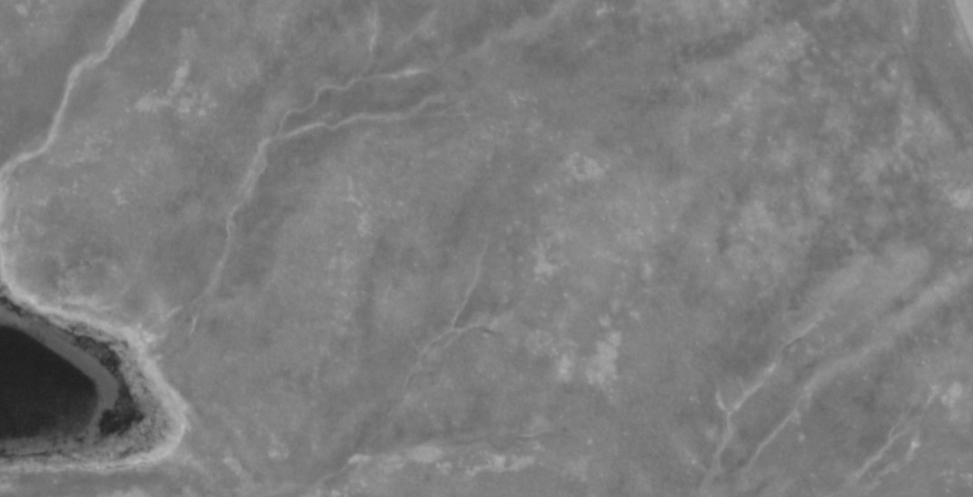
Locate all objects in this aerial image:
road: (965, 17)

